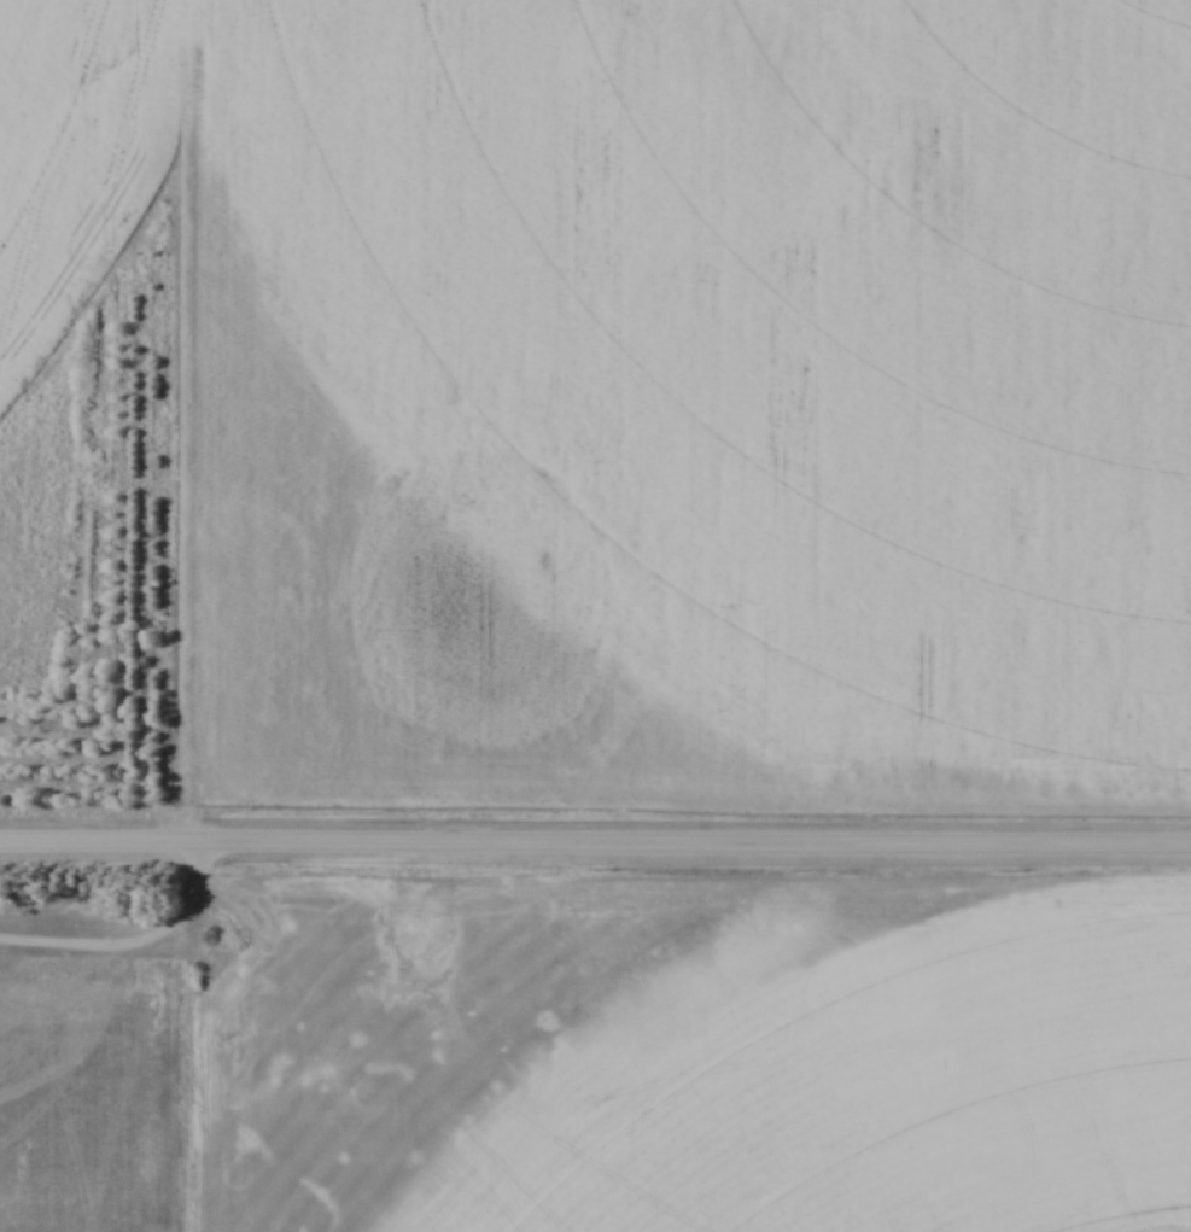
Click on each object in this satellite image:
road: (595, 841)
road: (135, 940)

